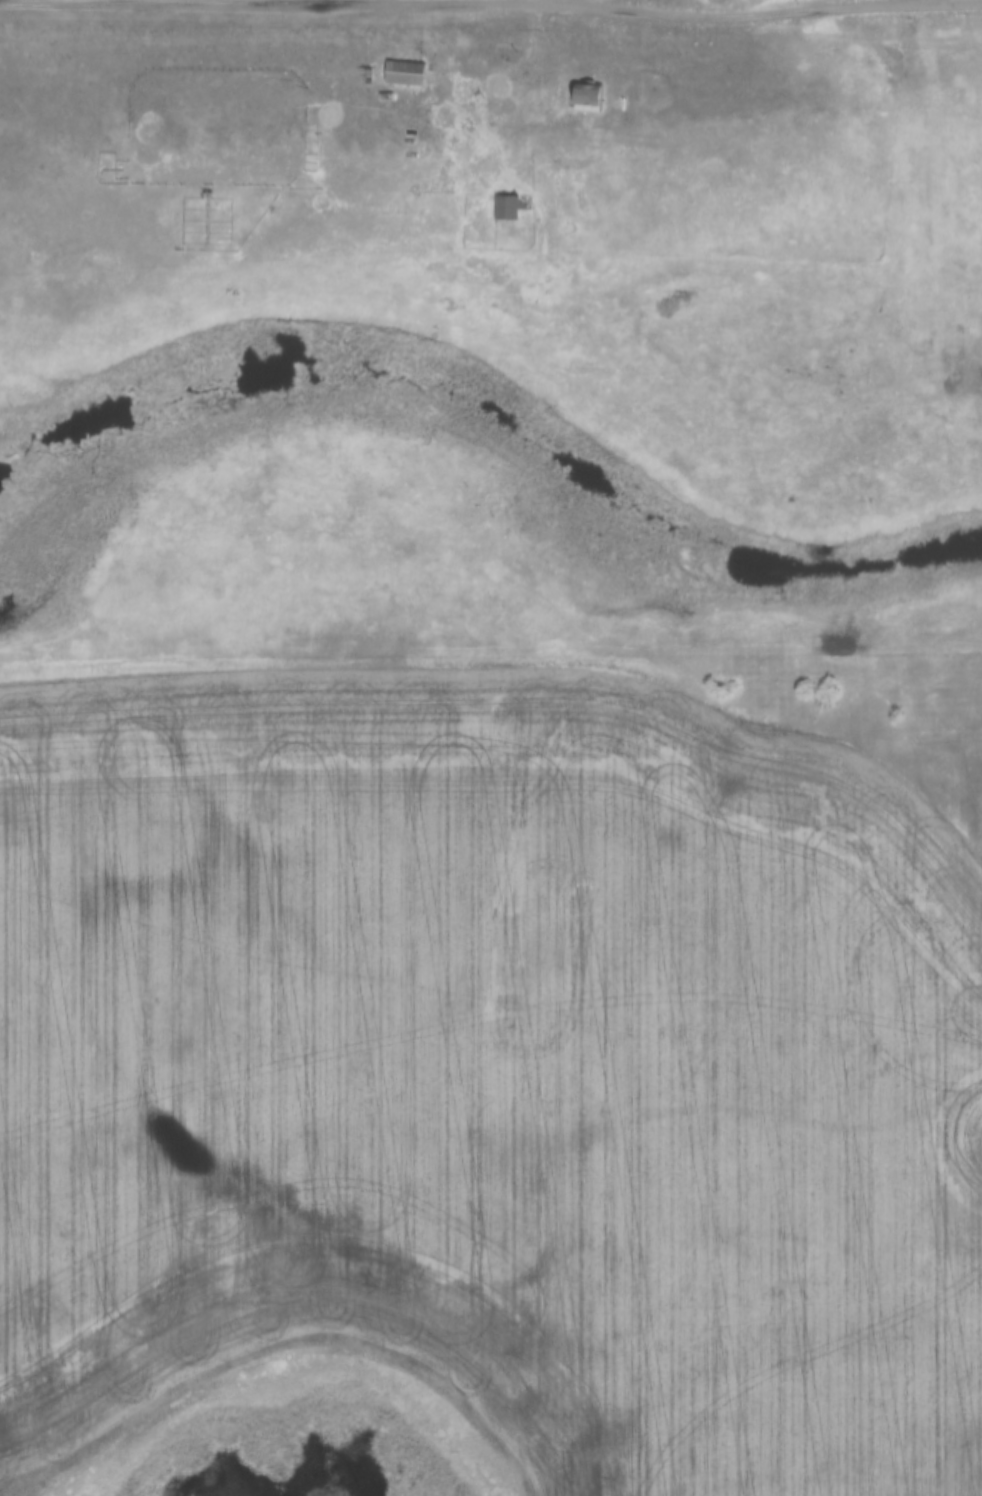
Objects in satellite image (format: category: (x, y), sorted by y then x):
road: (491, 1)
road: (545, 51)
building: (400, 73)
building: (581, 97)
building: (505, 207)

